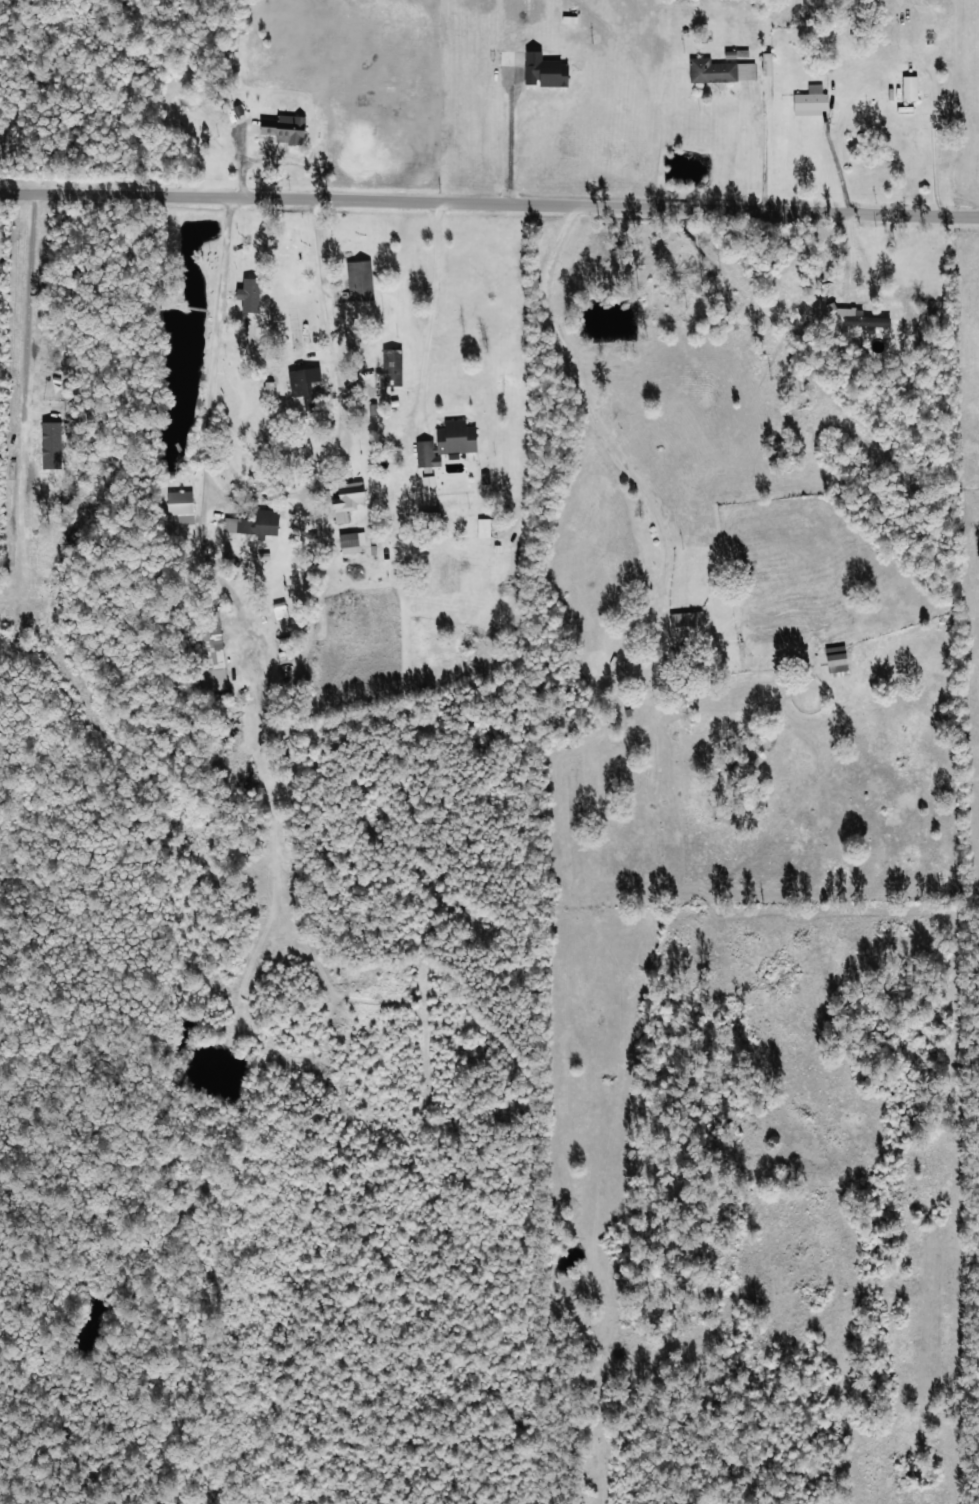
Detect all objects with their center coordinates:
building: (766, 63)
building: (544, 69)
building: (720, 70)
building: (909, 87)
building: (810, 100)
building: (284, 128)
road: (489, 200)
building: (359, 279)
building: (250, 294)
building: (861, 318)
building: (391, 366)
road: (564, 420)
building: (446, 442)
building: (428, 483)
building: (346, 500)
building: (179, 502)
building: (253, 523)
building: (482, 527)
building: (352, 539)
building: (279, 610)
building: (686, 624)
building: (836, 661)

